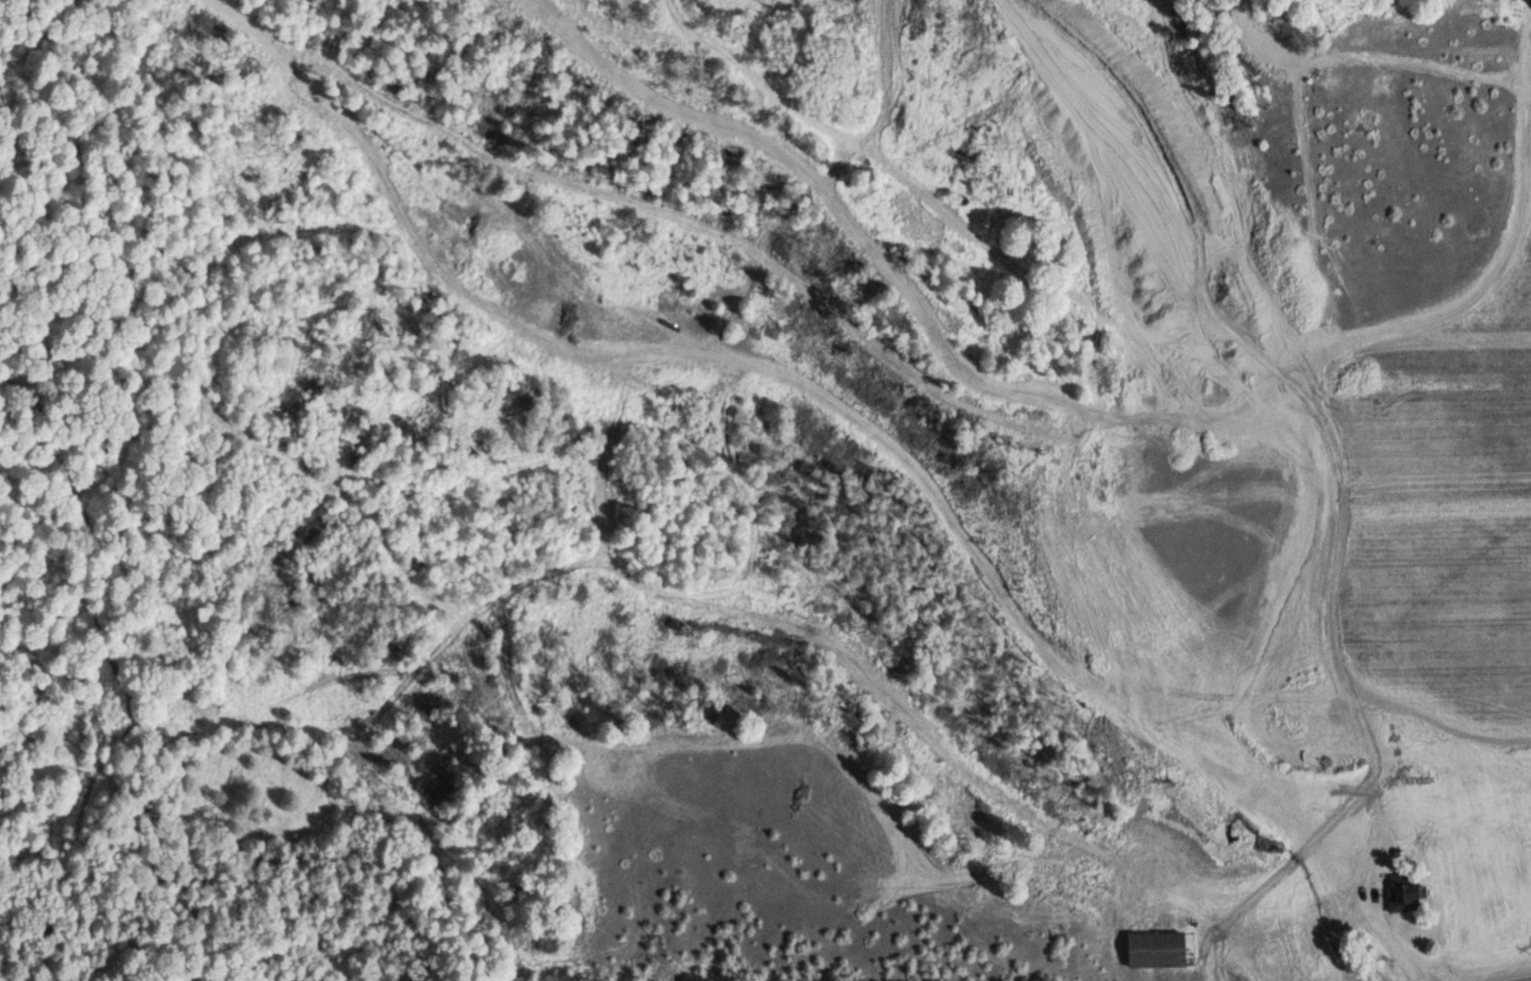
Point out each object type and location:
airport runway: (1442, 564)
building: (1407, 826)
building: (1400, 893)
building: (1153, 950)

